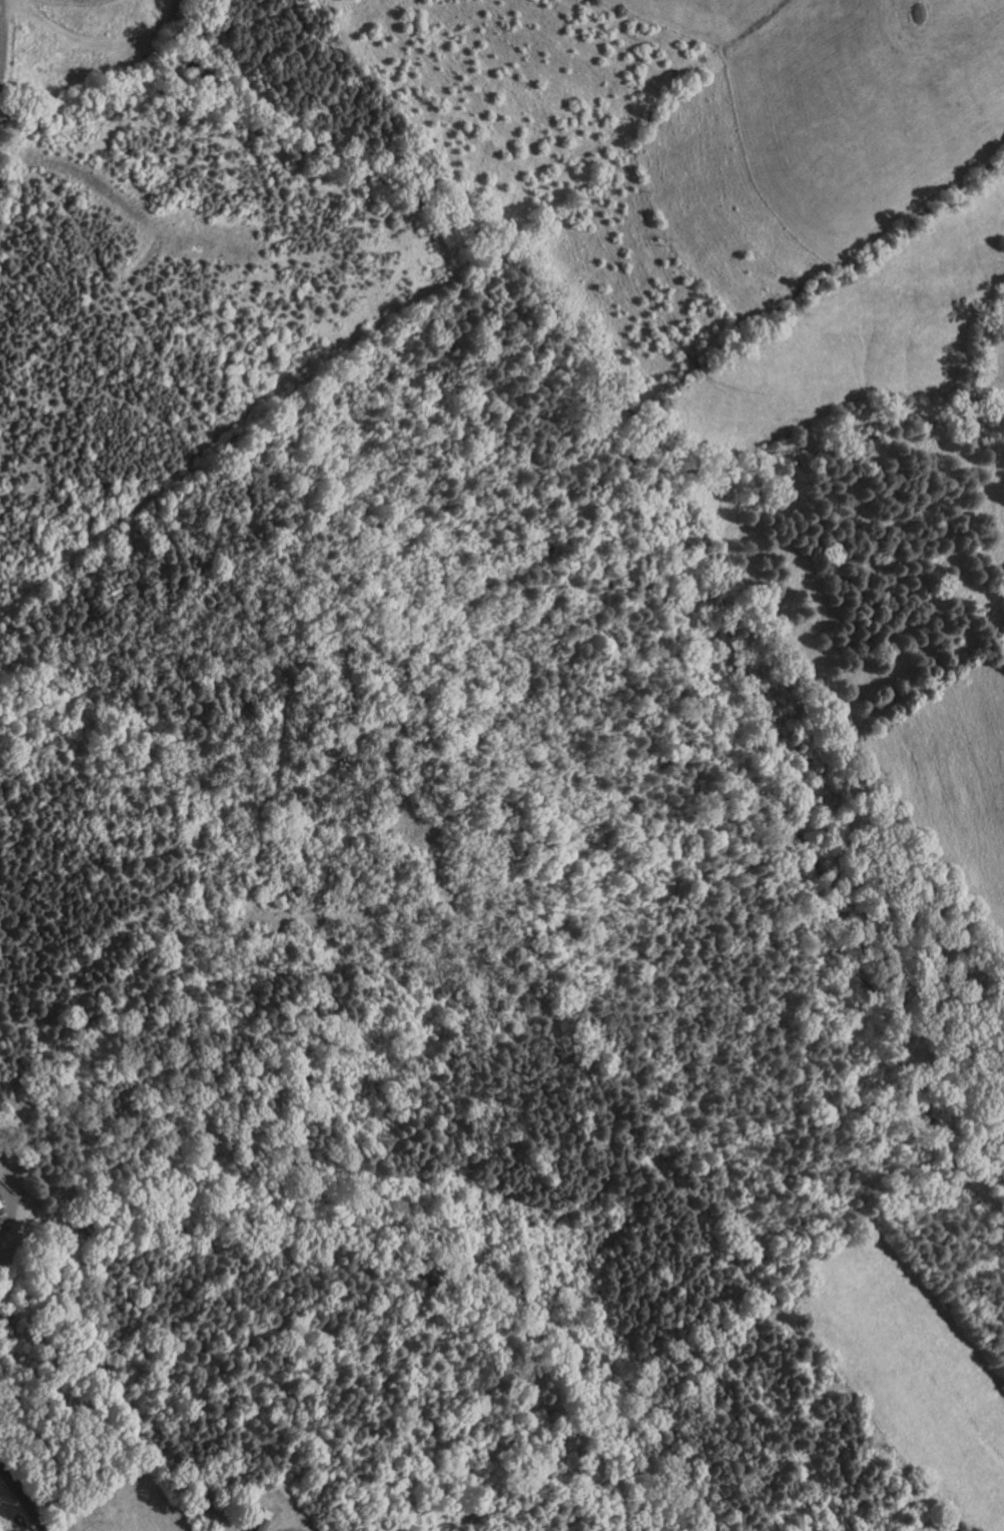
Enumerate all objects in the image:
road: (2, 38)
building: (204, 71)
road: (79, 172)
road: (13, 1208)
road: (23, 1498)
building: (262, 1524)
road: (290, 1529)

